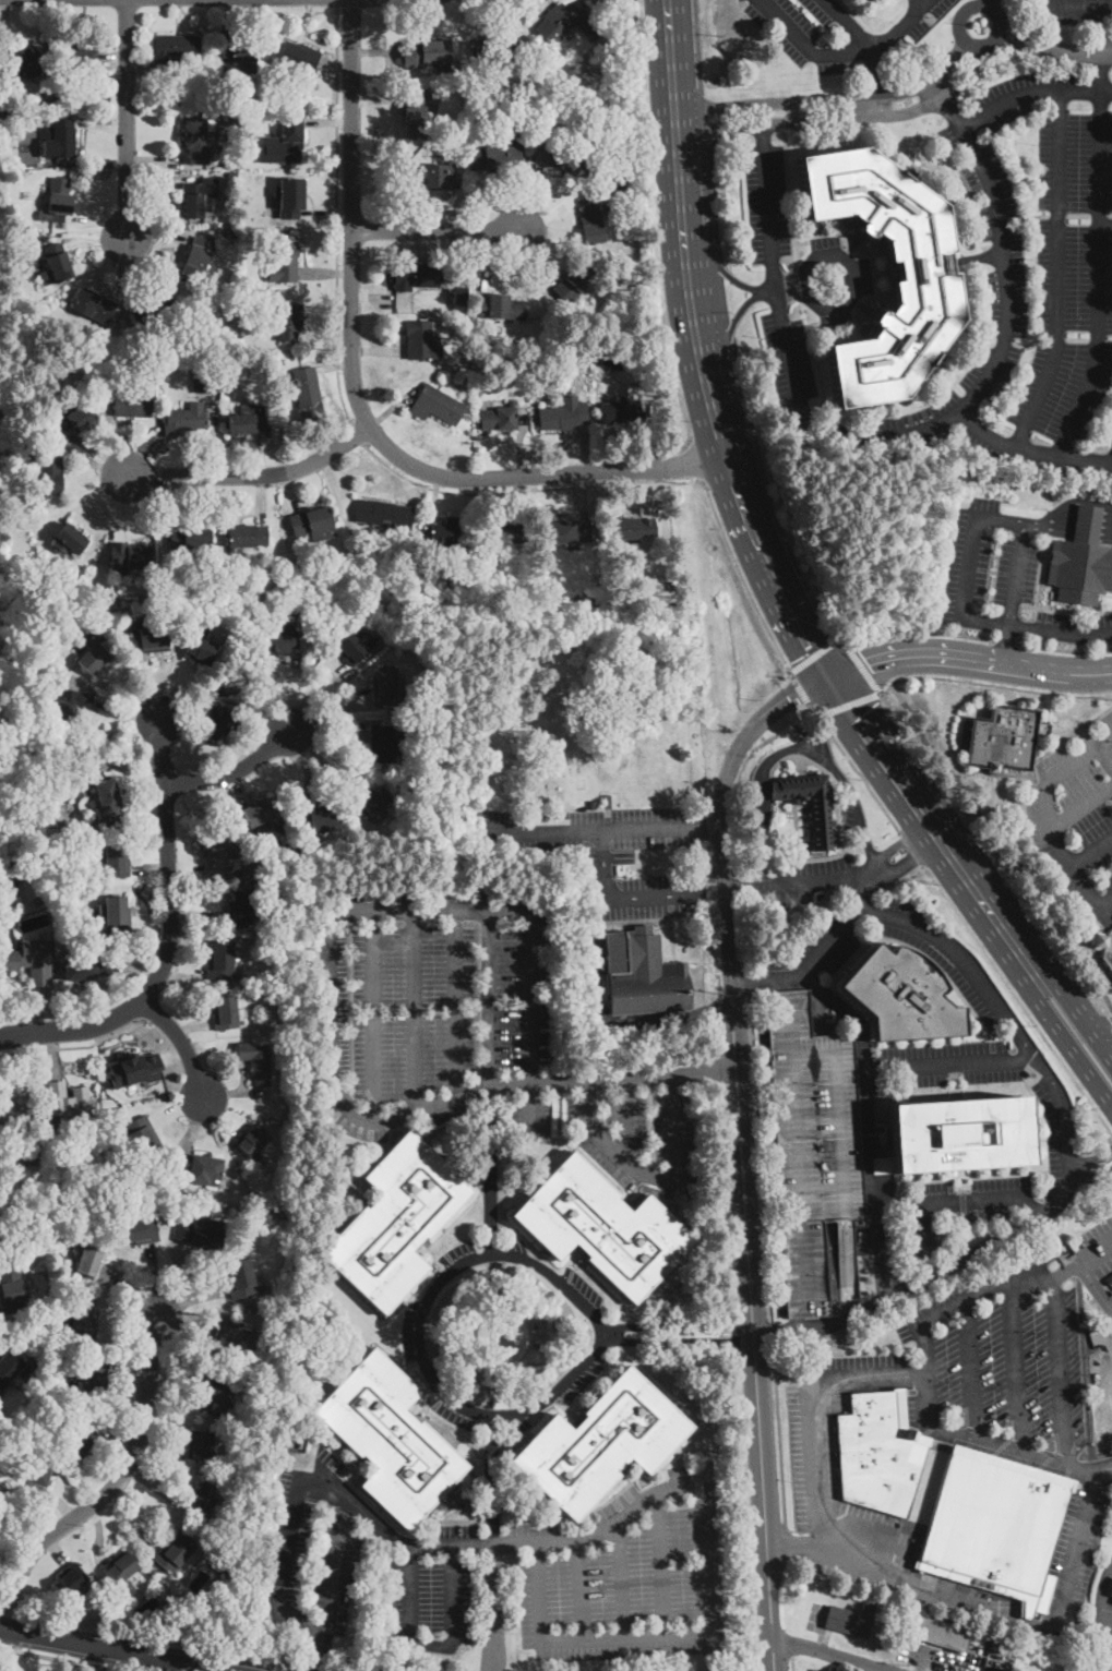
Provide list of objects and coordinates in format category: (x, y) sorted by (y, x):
road: (1066, 2)
road: (337, 3)
road: (990, 3)
parking lot: (1066, 11)
building: (566, 23)
road: (899, 25)
parking lot: (840, 33)
road: (964, 37)
road: (697, 46)
building: (498, 47)
road: (1053, 48)
building: (172, 50)
road: (841, 52)
building: (425, 53)
building: (239, 55)
building: (80, 61)
building: (298, 61)
building: (22, 62)
road: (1101, 73)
road: (876, 82)
road: (1032, 93)
road: (942, 97)
road: (830, 98)
building: (59, 99)
building: (526, 109)
road: (796, 110)
building: (545, 112)
building: (418, 115)
building: (232, 116)
road: (841, 116)
road: (703, 118)
road: (127, 119)
building: (247, 125)
road: (762, 132)
building: (60, 140)
building: (199, 141)
building: (283, 143)
building: (497, 157)
building: (563, 158)
building: (230, 164)
building: (432, 175)
building: (622, 185)
building: (291, 199)
road: (714, 200)
building: (58, 202)
building: (196, 203)
parking lot: (768, 203)
road: (344, 212)
road: (337, 217)
building: (11, 219)
building: (593, 224)
road: (655, 229)
road: (433, 232)
building: (231, 233)
building: (15, 239)
road: (978, 256)
building: (196, 261)
building: (283, 261)
road: (718, 264)
building: (20, 265)
building: (56, 265)
road: (719, 265)
road: (1059, 274)
building: (416, 276)
parking lot: (838, 277)
building: (928, 277)
road: (1099, 277)
parking lot: (1032, 278)
building: (574, 281)
road: (781, 287)
road: (724, 299)
road: (827, 303)
building: (93, 306)
building: (502, 308)
building: (155, 310)
building: (289, 322)
road: (343, 333)
road: (729, 334)
building: (134, 339)
building: (177, 339)
road: (726, 339)
building: (421, 340)
building: (164, 358)
building: (120, 360)
building: (606, 360)
road: (343, 363)
parking lot: (789, 368)
building: (309, 395)
road: (357, 400)
building: (132, 404)
building: (438, 406)
building: (621, 411)
building: (563, 414)
building: (82, 418)
building: (186, 420)
building: (248, 420)
building: (498, 420)
road: (356, 434)
road: (904, 434)
road: (1029, 450)
building: (1, 456)
road: (694, 461)
road: (1111, 461)
building: (51, 474)
road: (251, 474)
road: (644, 476)
road: (515, 483)
road: (505, 491)
road: (1072, 502)
road: (770, 504)
road: (1089, 509)
building: (383, 514)
road: (1085, 516)
road: (1007, 521)
road: (1081, 521)
building: (313, 524)
road: (1077, 527)
building: (631, 529)
road: (1076, 530)
road: (753, 532)
building: (502, 533)
building: (565, 533)
building: (451, 534)
building: (248, 536)
building: (384, 536)
building: (190, 537)
building: (72, 539)
building: (130, 556)
building: (1081, 561)
road: (968, 567)
building: (302, 573)
road: (1016, 574)
road: (742, 576)
parking lot: (1004, 579)
building: (283, 584)
building: (443, 585)
building: (671, 585)
building: (297, 608)
road: (1036, 628)
road: (921, 634)
building: (148, 638)
building: (44, 642)
building: (283, 642)
road: (1007, 642)
road: (1005, 645)
building: (356, 648)
road: (1065, 650)
building: (200, 651)
road: (812, 654)
building: (95, 658)
road: (968, 660)
road: (864, 669)
traffic signals: (827, 673)
road: (1000, 685)
building: (385, 686)
road: (799, 688)
road: (886, 688)
road: (310, 693)
park: (571, 695)
building: (2, 696)
building: (67, 701)
road: (849, 702)
building: (48, 709)
building: (219, 722)
building: (964, 734)
building: (1003, 738)
building: (382, 746)
road: (793, 747)
road: (1078, 757)
road: (1035, 766)
road: (854, 768)
road: (234, 770)
parking lot: (836, 780)
building: (108, 801)
building: (607, 802)
building: (372, 803)
building: (283, 805)
building: (593, 805)
road: (1080, 806)
building: (259, 813)
parking lot: (1076, 819)
building: (283, 820)
building: (318, 820)
road: (709, 827)
building: (822, 829)
road: (586, 831)
building: (51, 832)
road: (900, 842)
road: (1005, 845)
road: (911, 847)
road: (1061, 847)
road: (1091, 849)
parking lot: (613, 853)
building: (218, 855)
road: (911, 858)
road: (168, 861)
building: (117, 862)
road: (603, 864)
road: (713, 874)
parking lot: (809, 879)
road: (818, 882)
road: (739, 887)
building: (8, 890)
road: (860, 893)
road: (659, 894)
building: (37, 901)
road: (1107, 902)
building: (242, 910)
road: (429, 910)
building: (116, 914)
building: (1107, 948)
road: (769, 954)
building: (31, 961)
building: (220, 961)
road: (962, 962)
building: (87, 966)
road: (997, 973)
building: (643, 975)
road: (740, 977)
road: (749, 978)
building: (282, 983)
building: (900, 996)
road: (488, 998)
road: (456, 1001)
road: (86, 1009)
road: (130, 1009)
road: (415, 1010)
building: (225, 1013)
road: (373, 1014)
road: (1084, 1019)
road: (530, 1020)
road: (602, 1021)
road: (1100, 1022)
road: (74, 1029)
parking lot: (474, 1030)
road: (715, 1038)
road: (180, 1041)
road: (73, 1045)
road: (1068, 1050)
building: (255, 1061)
road: (948, 1061)
building: (134, 1068)
road: (716, 1068)
building: (283, 1072)
road: (612, 1074)
parking lot: (940, 1086)
road: (332, 1087)
building: (68, 1102)
building: (17, 1113)
road: (626, 1118)
road: (866, 1125)
building: (959, 1134)
building: (143, 1137)
building: (253, 1141)
road: (741, 1149)
building: (814, 1151)
parking garage: (814, 1151)
building: (29, 1156)
road: (760, 1156)
road: (1096, 1158)
building: (261, 1162)
building: (883, 1165)
building: (199, 1167)
road: (490, 1170)
road: (1101, 1173)
road: (653, 1176)
building: (168, 1189)
building: (28, 1193)
road: (725, 1200)
building: (176, 1205)
road: (967, 1214)
building: (396, 1222)
building: (603, 1227)
building: (139, 1230)
building: (200, 1236)
parking lot: (1096, 1242)
road: (1096, 1253)
building: (94, 1262)
road: (1063, 1273)
road: (933, 1274)
building: (61, 1278)
road: (1019, 1278)
building: (241, 1279)
building: (1109, 1279)
building: (11, 1288)
road: (1096, 1288)
building: (58, 1291)
road: (1101, 1291)
building: (41, 1320)
building: (85, 1320)
road: (677, 1324)
building: (1090, 1329)
road: (772, 1330)
parking lot: (415, 1334)
road: (733, 1334)
building: (230, 1336)
road: (677, 1338)
road: (1017, 1365)
building: (11, 1369)
road: (969, 1369)
building: (94, 1377)
parking lot: (954, 1387)
road: (1100, 1390)
parking lot: (1102, 1393)
building: (219, 1395)
road: (1107, 1399)
building: (73, 1403)
road: (494, 1414)
road: (815, 1415)
building: (2, 1421)
road: (778, 1433)
building: (83, 1434)
building: (390, 1439)
building: (601, 1444)
building: (201, 1446)
road: (1023, 1451)
building: (880, 1453)
building: (10, 1456)
building: (283, 1466)
building: (37, 1475)
road: (1107, 1488)
building: (1, 1491)
road: (109, 1491)
building: (202, 1501)
road: (744, 1512)
road: (125, 1517)
building: (995, 1527)
parking lot: (1081, 1531)
road: (497, 1541)
road: (794, 1541)
road: (491, 1542)
building: (176, 1553)
parking lot: (359, 1561)
road: (660, 1564)
road: (339, 1566)
road: (286, 1568)
building: (122, 1573)
parking lot: (626, 1575)
road: (620, 1578)
building: (69, 1580)
road: (581, 1588)
building: (1111, 1592)
road: (1103, 1598)
building: (868, 1606)
road: (10, 1612)
building: (215, 1614)
building: (178, 1620)
road: (1018, 1620)
building: (848, 1621)
road: (0, 1628)
building: (937, 1632)
road: (647, 1635)
road: (1102, 1636)
road: (159, 1638)
road: (433, 1645)
road: (316, 1649)
road: (112, 1650)
road: (828, 1652)
road: (1092, 1657)
road: (65, 1658)
road: (116, 1661)
road: (792, 1663)
parking lot: (1080, 1664)
parking lot: (814, 1667)
road: (314, 1668)

